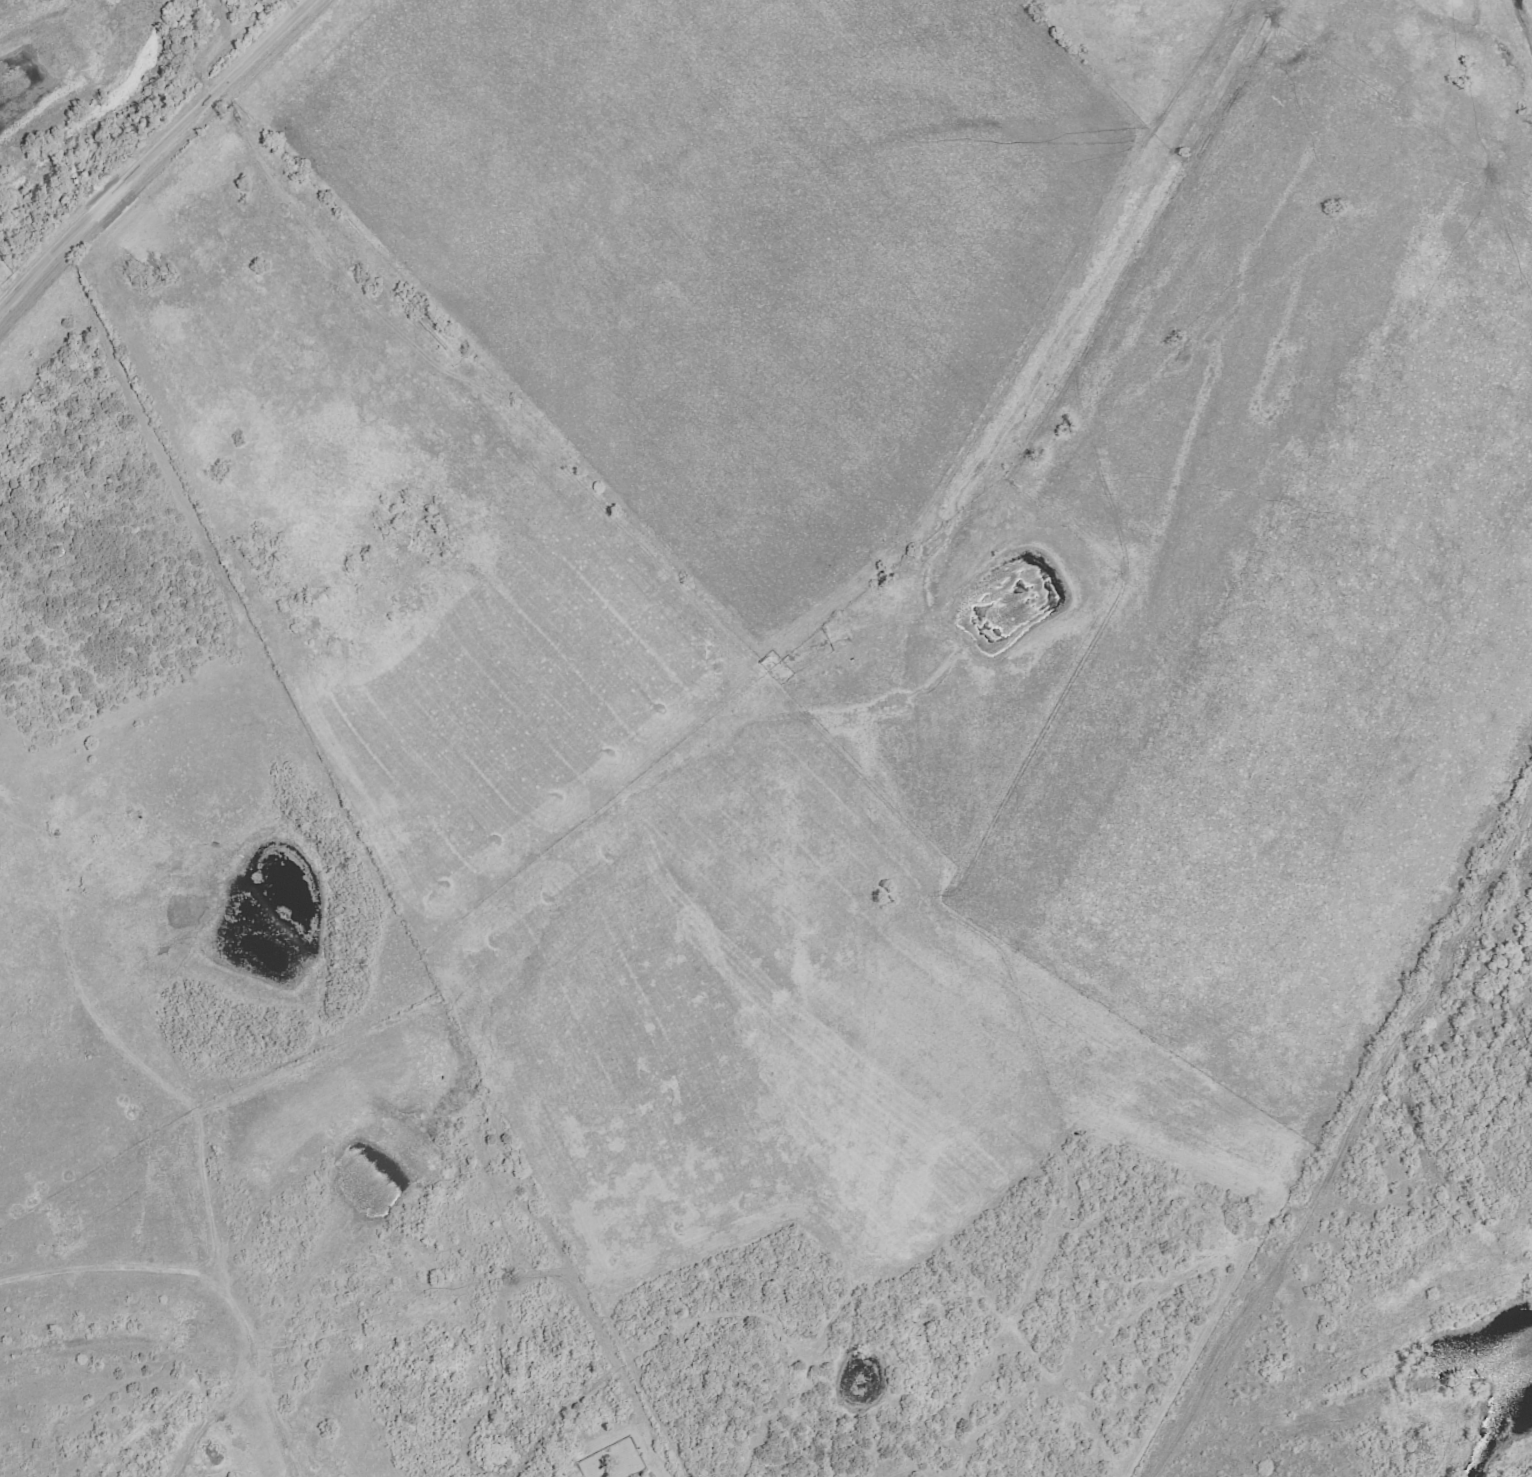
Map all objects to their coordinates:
road: (153, 155)

